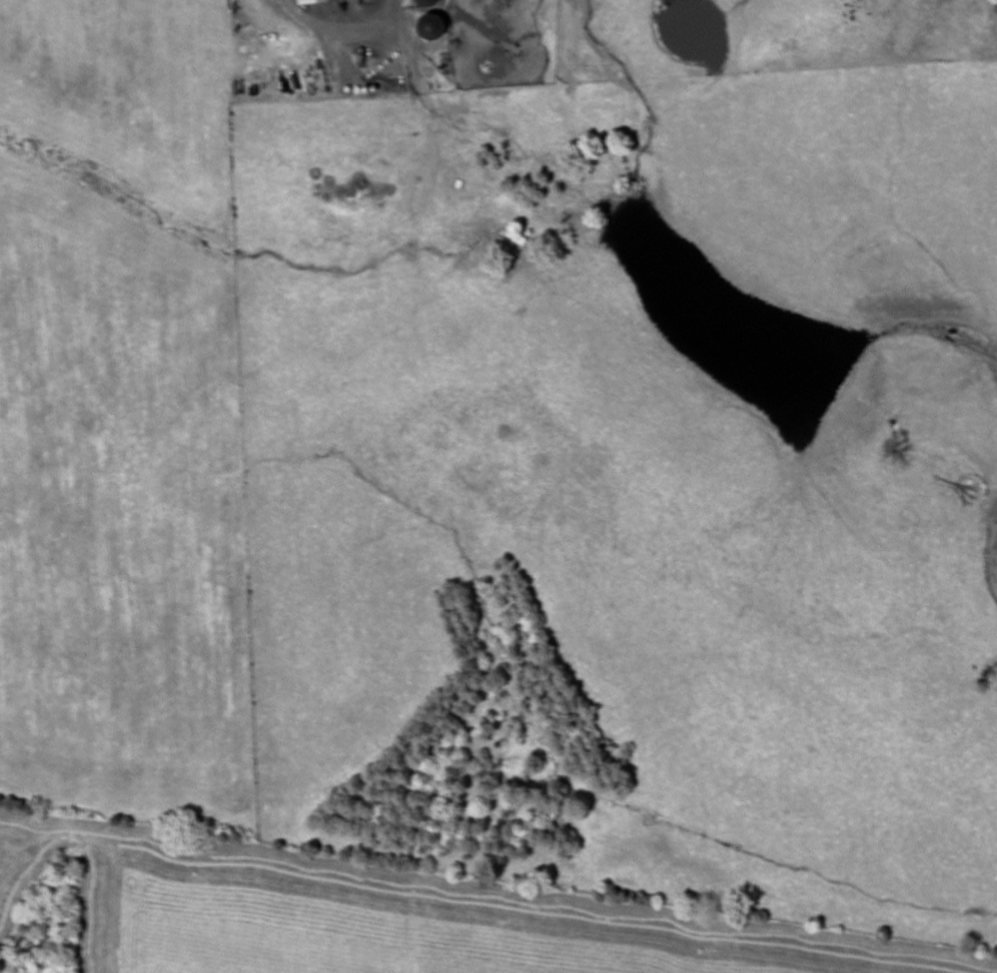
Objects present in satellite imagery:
building: (430, 2)

